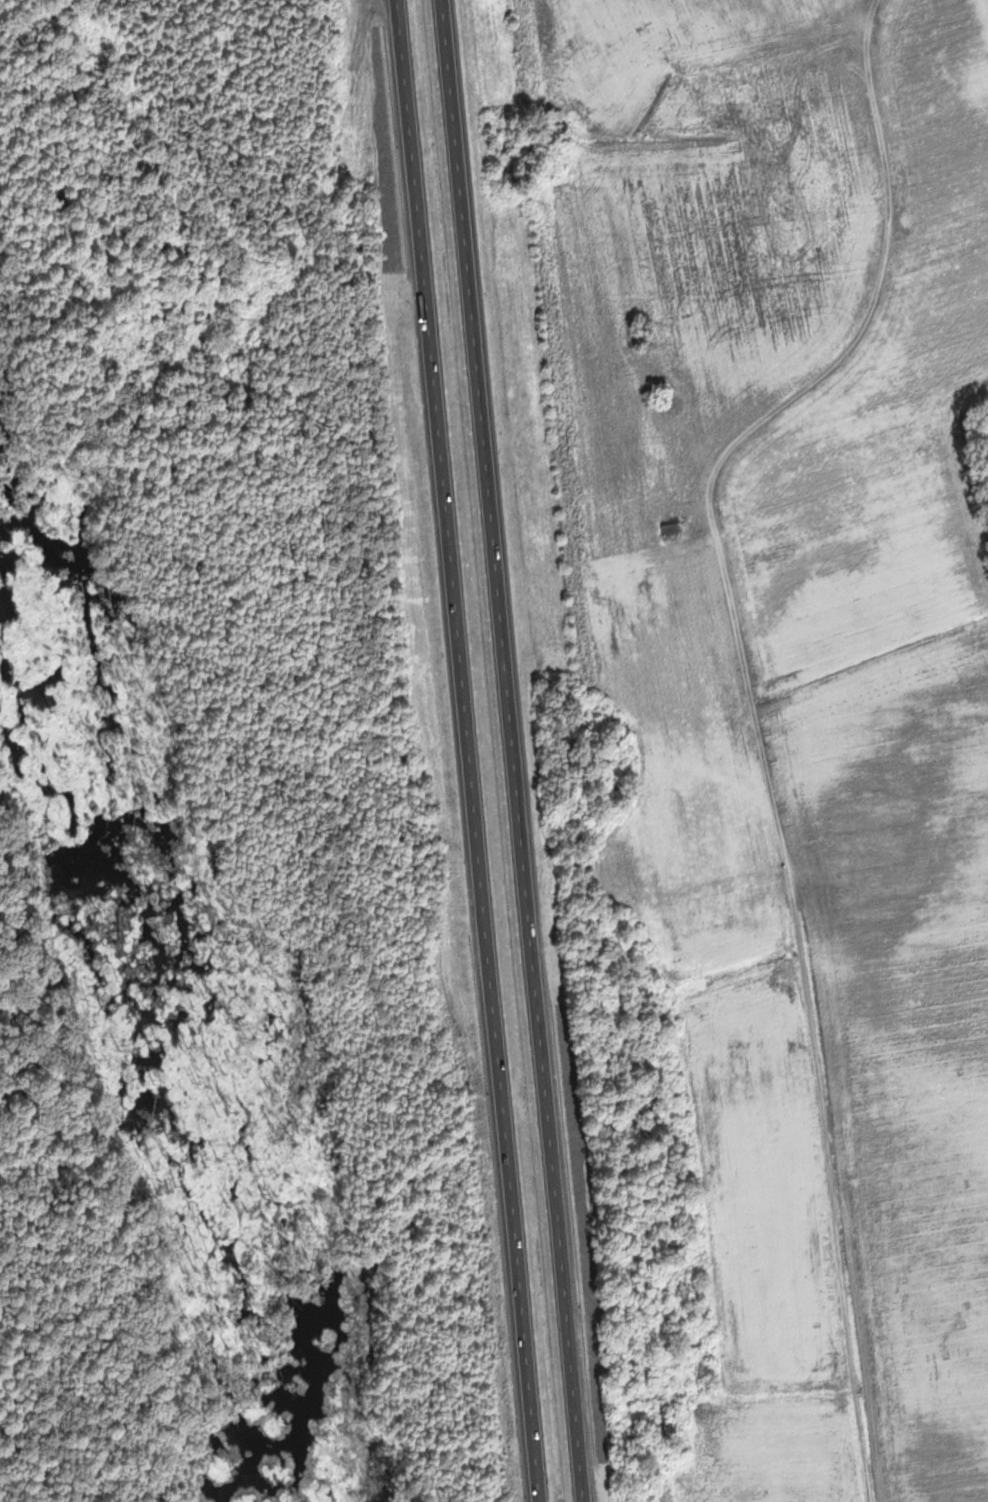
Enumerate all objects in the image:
road: (481, 750)
road: (521, 750)

